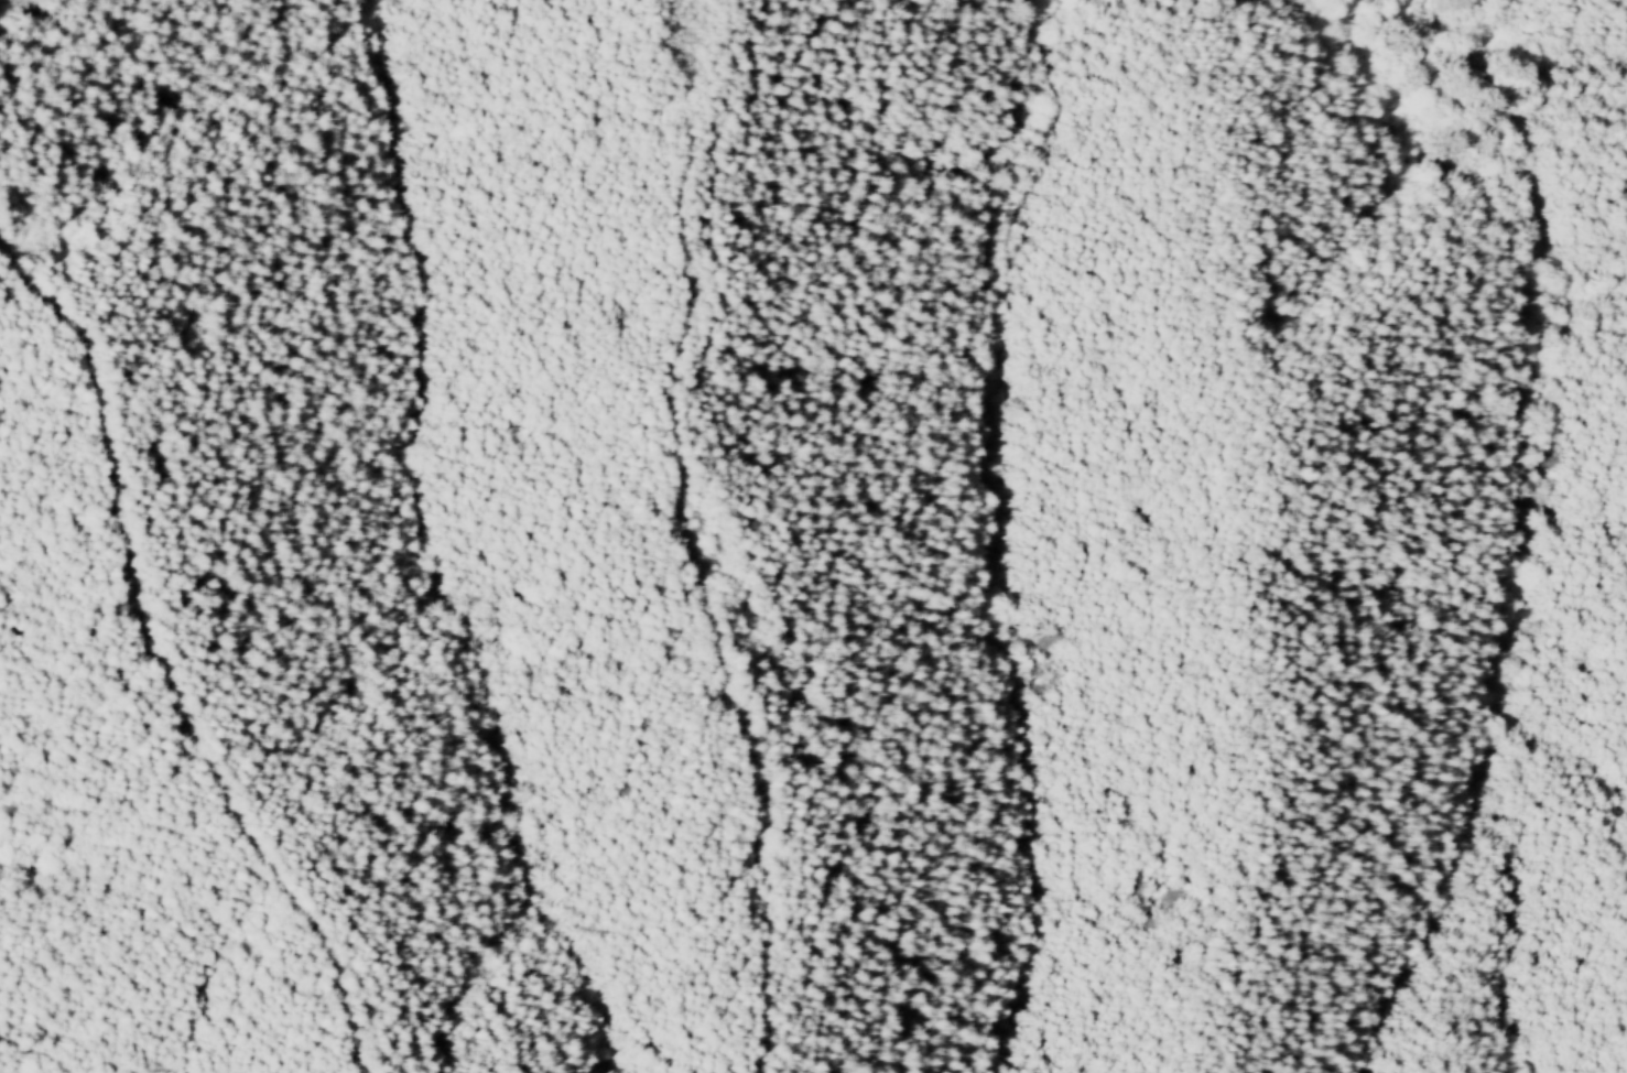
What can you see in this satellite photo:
road: (25, 1004)

